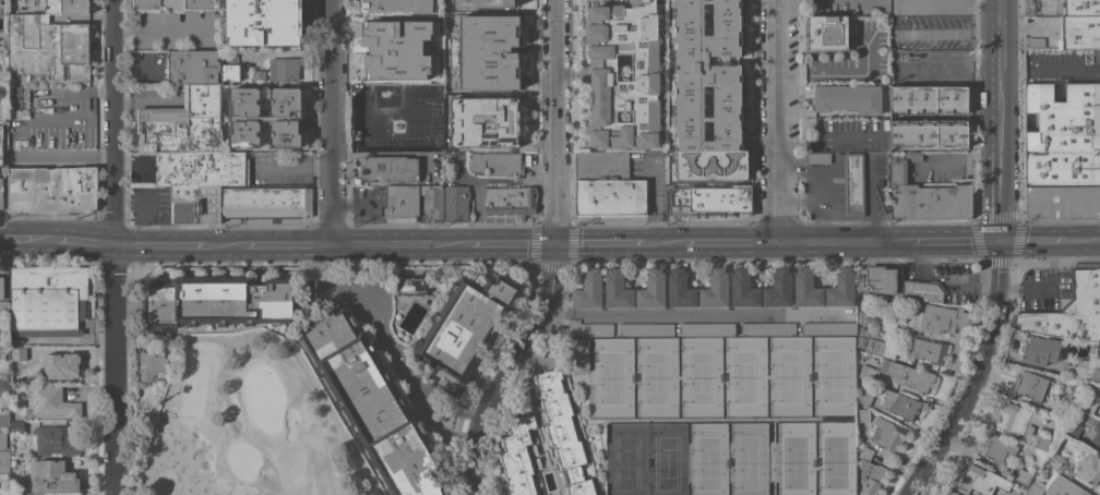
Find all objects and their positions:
building: (483, 3)
building: (922, 3)
building: (13, 4)
building: (177, 4)
building: (953, 4)
building: (398, 5)
building: (68, 7)
building: (1081, 7)
building: (895, 8)
building: (260, 21)
road: (163, 29)
road: (947, 29)
building: (1079, 32)
building: (828, 33)
building: (2, 38)
building: (47, 47)
building: (395, 48)
building: (488, 51)
road: (957, 52)
building: (228, 56)
building: (832, 61)
building: (901, 61)
building: (945, 65)
road: (965, 65)
road: (135, 67)
building: (194, 67)
building: (284, 69)
building: (876, 70)
building: (231, 72)
building: (0, 73)
building: (624, 74)
building: (707, 74)
building: (259, 75)
road: (46, 90)
building: (383, 95)
building: (849, 98)
road: (144, 99)
building: (929, 99)
building: (419, 109)
building: (3, 111)
building: (266, 117)
building: (1063, 117)
road: (1000, 119)
road: (777, 120)
building: (486, 121)
building: (183, 122)
road: (332, 122)
building: (383, 131)
building: (929, 132)
road: (826, 140)
building: (1, 144)
road: (383, 152)
road: (62, 154)
building: (913, 155)
building: (818, 157)
road: (959, 157)
road: (292, 162)
building: (498, 162)
building: (1064, 167)
building: (202, 168)
building: (391, 168)
building: (899, 171)
road: (483, 180)
building: (854, 183)
building: (608, 185)
building: (53, 189)
building: (1, 193)
building: (200, 200)
building: (432, 200)
building: (712, 200)
building: (265, 201)
building: (511, 201)
building: (1063, 201)
building: (402, 202)
building: (931, 202)
building: (456, 203)
road: (375, 204)
road: (651, 206)
road: (143, 209)
traffic signals: (999, 240)
road: (1037, 240)
road: (1088, 240)
road: (31, 241)
road: (724, 241)
road: (842, 241)
road: (953, 241)
road: (88, 243)
road: (506, 243)
traffic signals: (553, 243)
road: (611, 243)
road: (395, 244)
road: (174, 245)
road: (282, 245)
road: (115, 246)
road: (552, 257)
building: (877, 279)
building: (411, 286)
building: (2, 287)
building: (779, 288)
building: (808, 288)
building: (842, 288)
building: (589, 289)
building: (618, 289)
building: (653, 289)
building: (681, 289)
building: (716, 289)
building: (744, 289)
road: (1049, 289)
building: (923, 290)
building: (47, 298)
building: (219, 301)
building: (3, 309)
building: (1068, 309)
road: (698, 314)
building: (862, 317)
building: (940, 318)
building: (589, 328)
building: (646, 328)
building: (707, 328)
building: (768, 328)
building: (829, 328)
building: (465, 329)
road: (246, 335)
building: (881, 347)
building: (4, 348)
building: (1099, 348)
building: (929, 350)
building: (1040, 350)
building: (29, 353)
road: (398, 359)
building: (151, 364)
building: (69, 366)
building: (1076, 369)
building: (869, 372)
building: (1095, 372)
park: (832, 374)
park: (743, 375)
park: (788, 375)
building: (909, 375)
road: (976, 375)
park: (655, 376)
park: (698, 376)
park: (610, 377)
building: (4, 383)
building: (1028, 386)
building: (865, 397)
building: (53, 401)
building: (373, 403)
building: (899, 403)
building: (1088, 403)
building: (863, 414)
building: (4, 420)
building: (1016, 420)
park: (247, 424)
building: (16, 426)
building: (1074, 428)
building: (1093, 428)
building: (563, 432)
building: (887, 435)
building: (3, 439)
building: (53, 440)
building: (1042, 443)
building: (999, 448)
building: (517, 457)
park: (793, 458)
park: (833, 458)
park: (624, 459)
park: (665, 459)
park: (706, 459)
park: (746, 459)
building: (4, 461)
building: (1059, 462)
building: (1089, 468)
building: (870, 472)
building: (52, 476)
building: (1023, 476)
building: (980, 480)
building: (1056, 486)
building: (953, 493)

